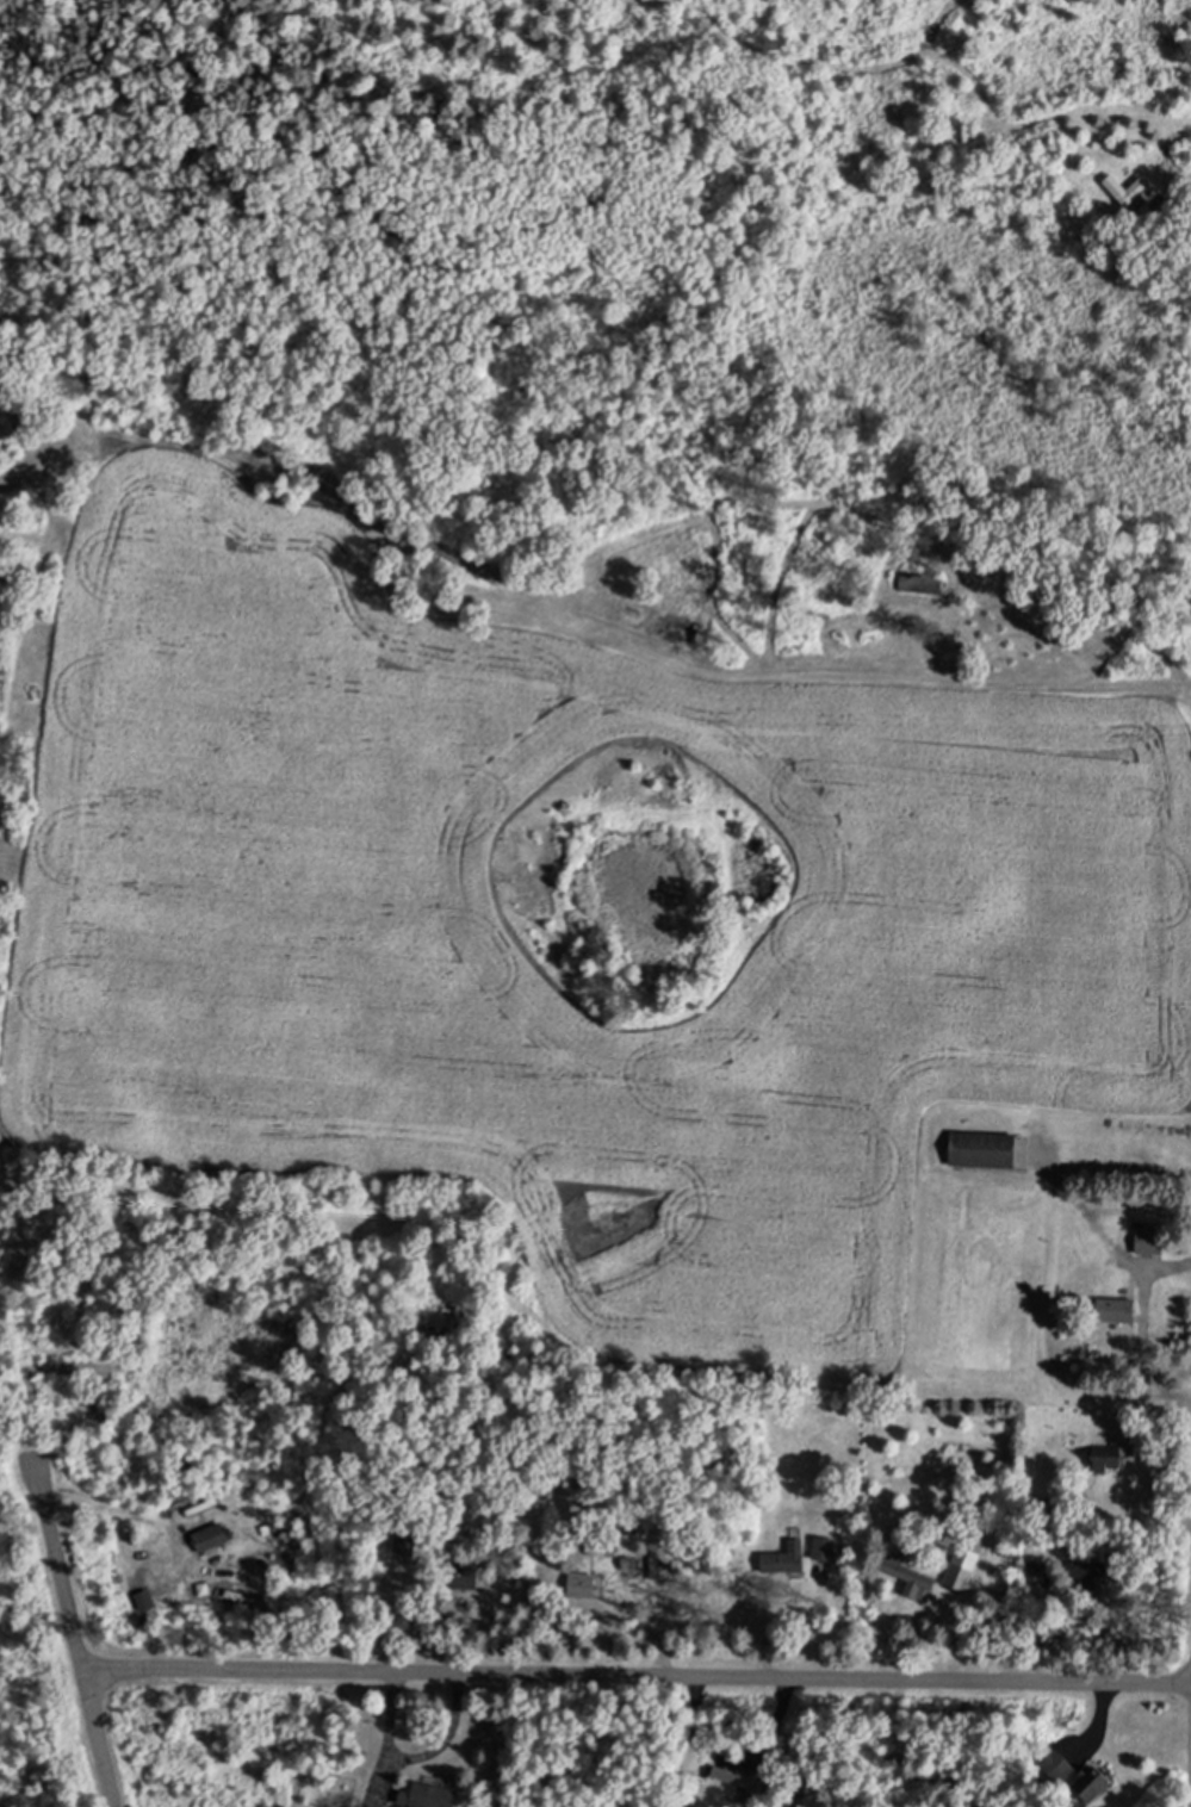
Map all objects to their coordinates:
building: (1131, 190)
building: (988, 1148)
building: (1152, 1241)
road: (10, 1304)
building: (1119, 1309)
building: (217, 1535)
building: (408, 1541)
building: (827, 1547)
building: (788, 1558)
building: (662, 1559)
building: (964, 1569)
building: (912, 1577)
road: (76, 1638)
road: (639, 1672)
building: (742, 1777)
building: (1096, 1782)
building: (430, 1795)

